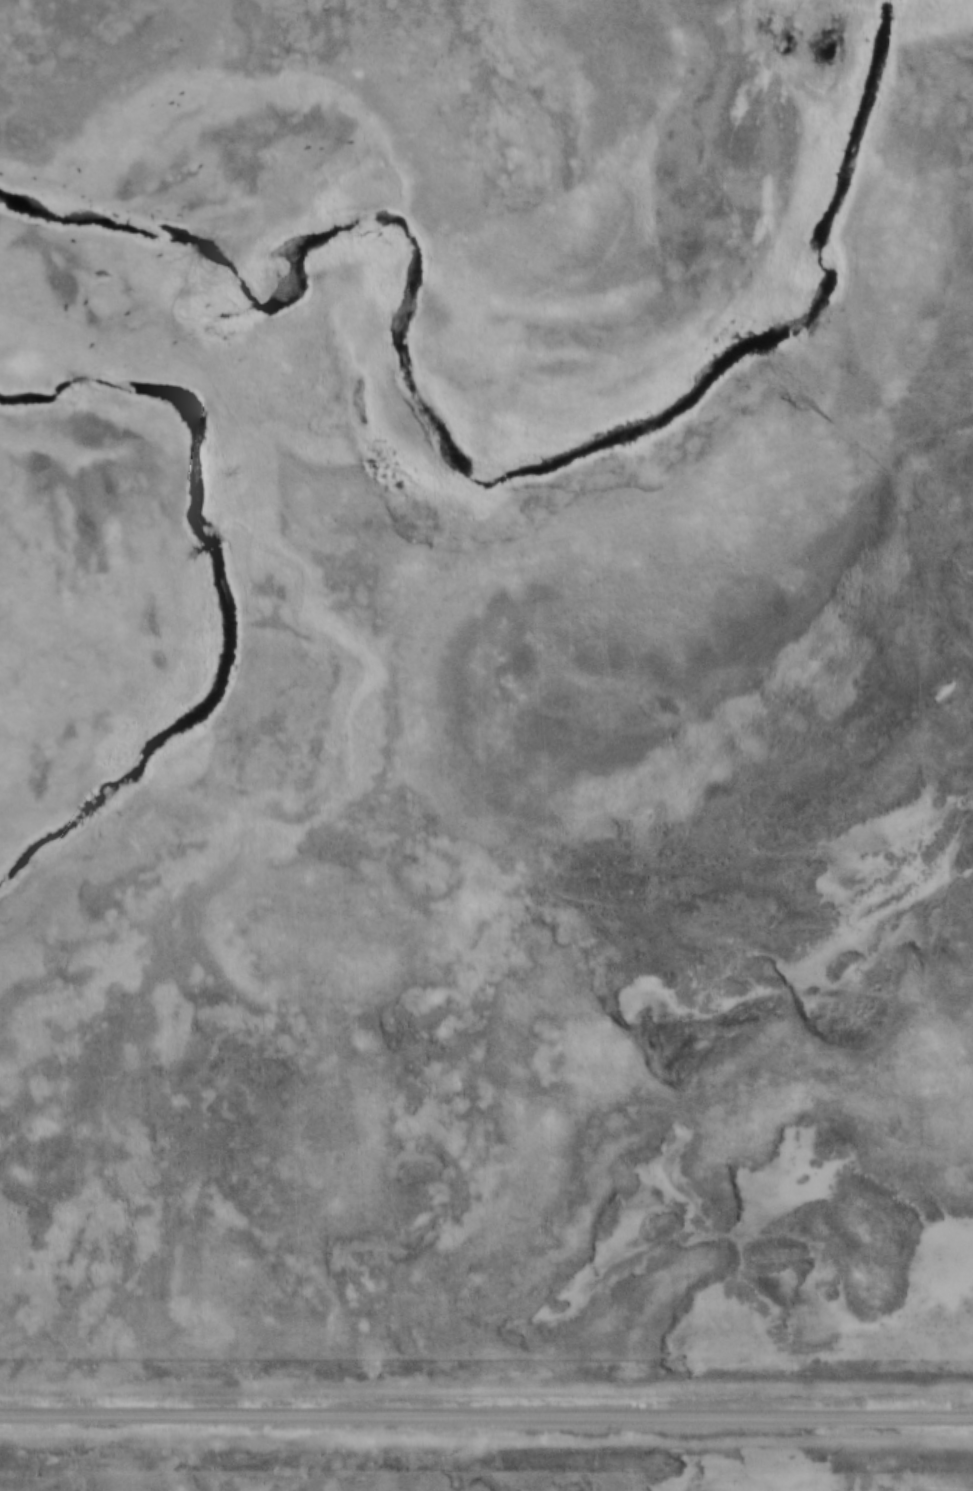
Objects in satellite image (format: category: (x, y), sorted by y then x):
road: (486, 1410)

